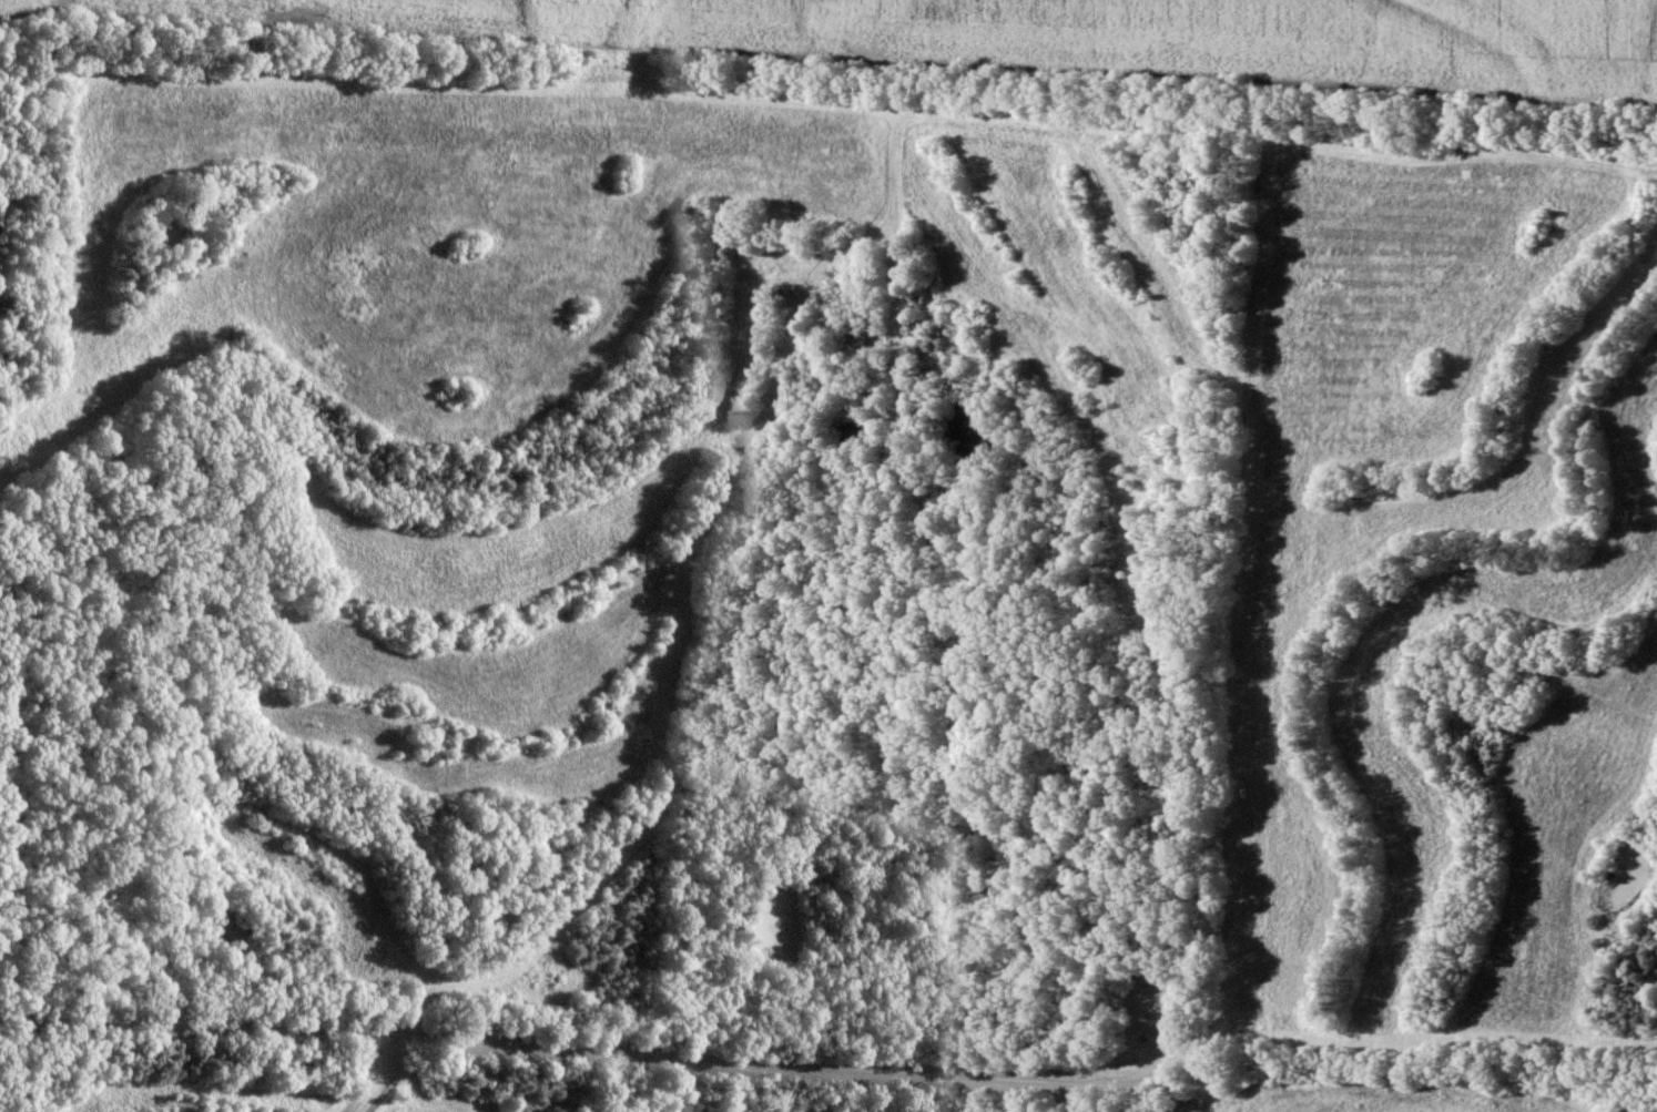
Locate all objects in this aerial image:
parking lot: (1167, 996)
road: (617, 1054)
road: (377, 1079)

